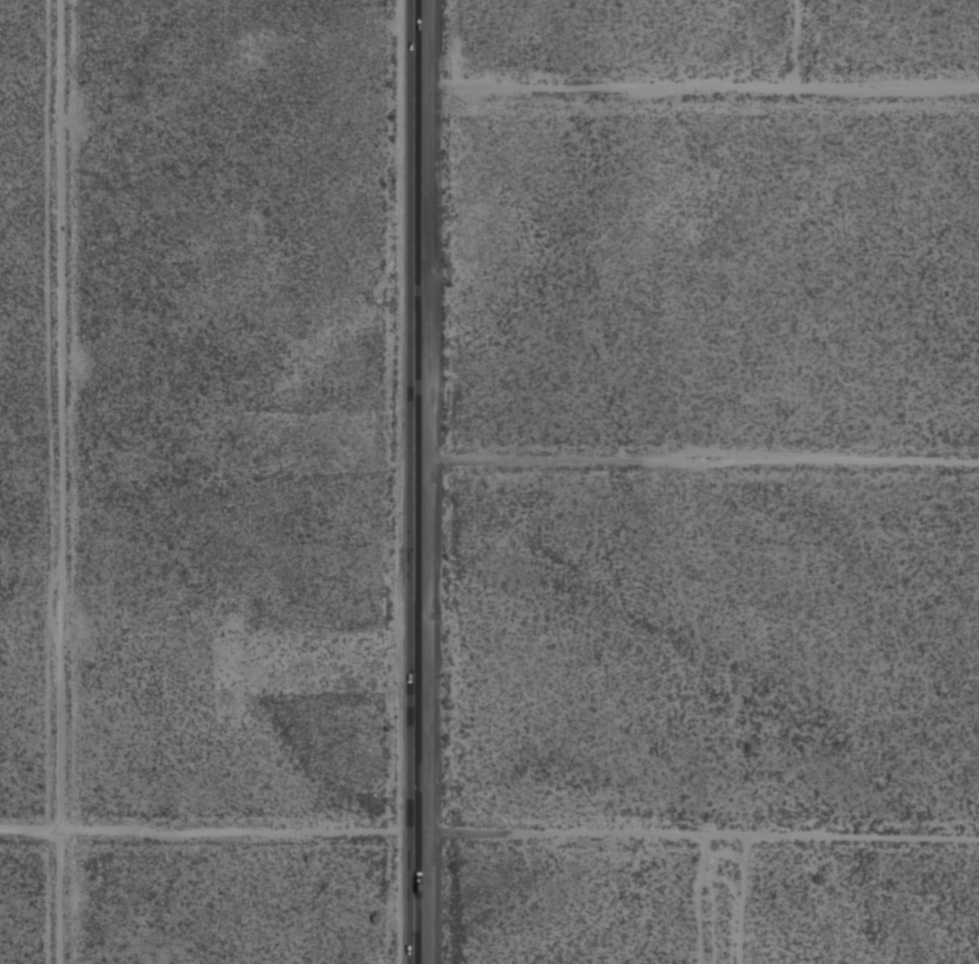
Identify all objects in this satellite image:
road: (696, 82)
road: (695, 457)
road: (411, 482)
road: (206, 833)
road: (696, 833)

